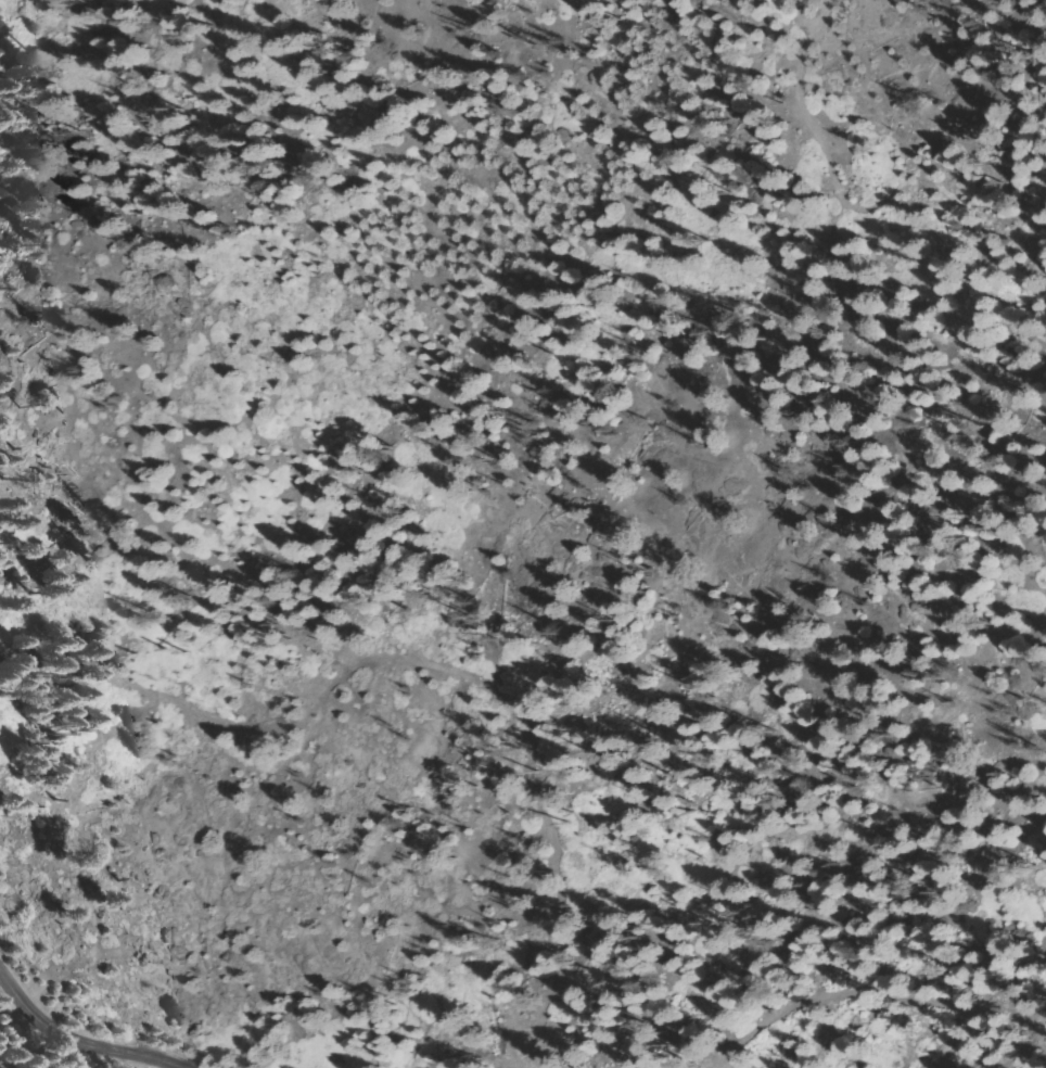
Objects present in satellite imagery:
road: (891, 240)
road: (90, 1039)

